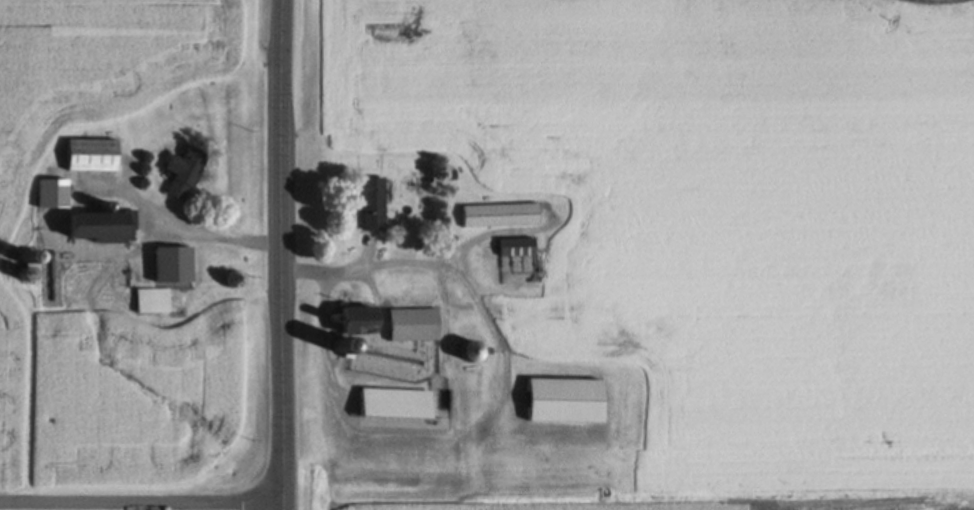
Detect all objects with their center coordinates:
building: (90, 154)
building: (182, 170)
building: (52, 192)
building: (371, 201)
building: (499, 214)
building: (102, 225)
road: (181, 227)
road: (498, 233)
building: (516, 246)
road: (284, 254)
road: (370, 254)
building: (170, 263)
road: (446, 266)
building: (27, 268)
building: (151, 299)
road: (447, 316)
building: (354, 320)
building: (412, 323)
road: (335, 389)
building: (563, 398)
building: (392, 402)
road: (142, 503)

